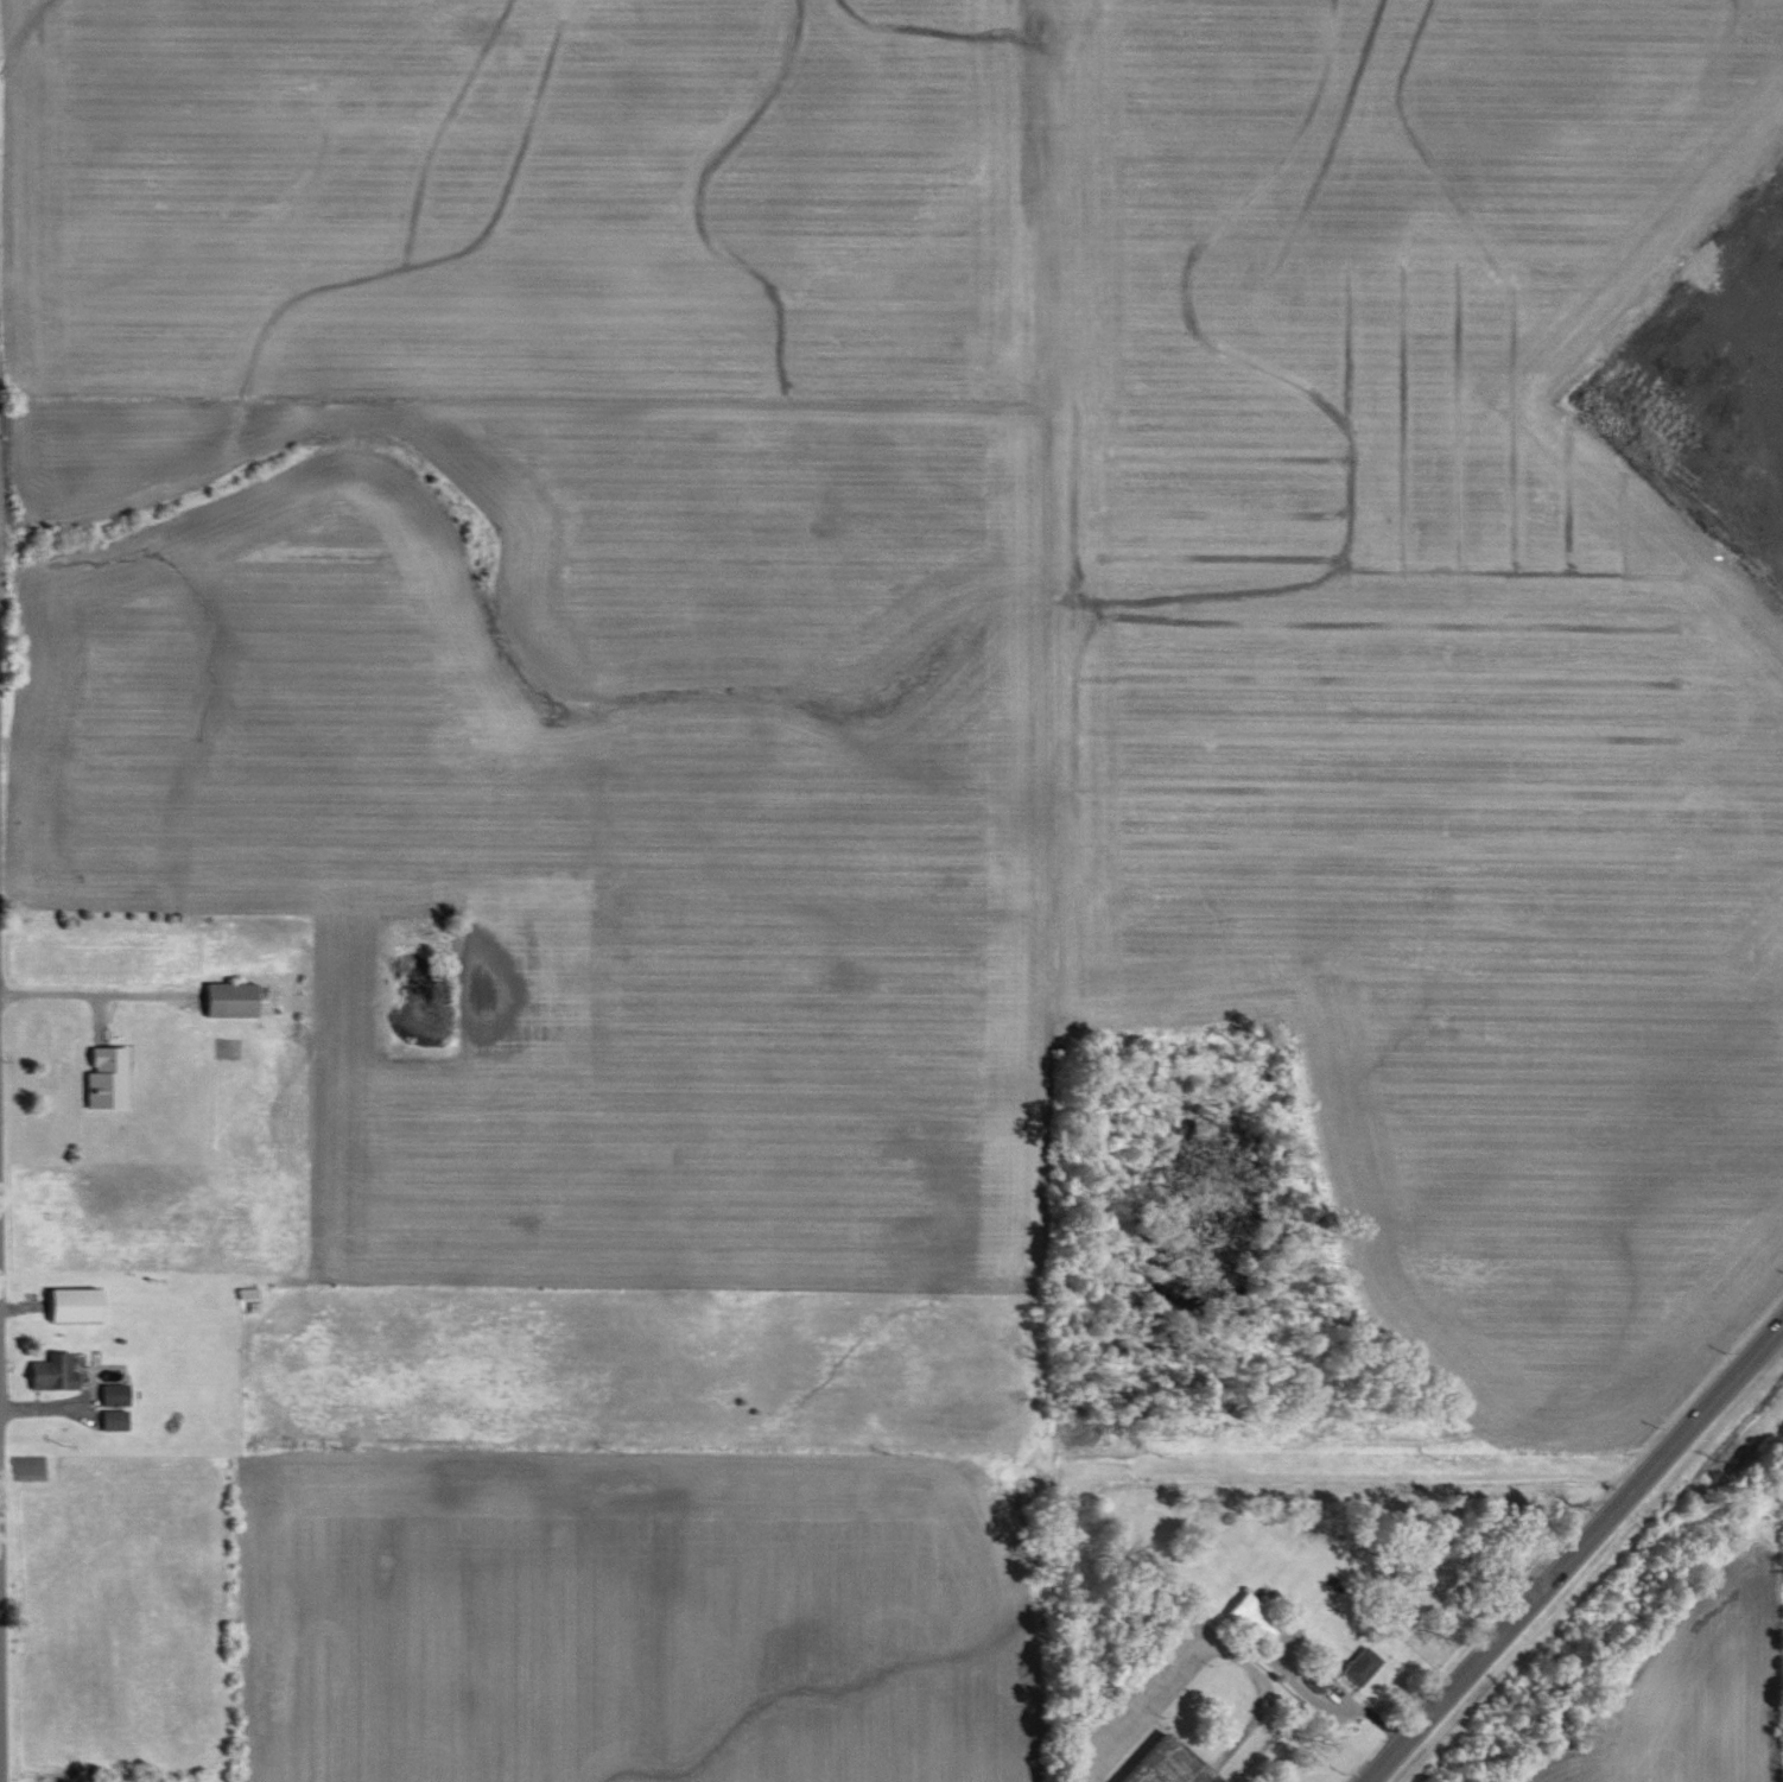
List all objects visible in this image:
road: (64, 994)
building: (237, 1000)
building: (113, 1078)
building: (83, 1305)
building: (61, 1371)
building: (121, 1395)
building: (120, 1420)
road: (1574, 1553)
building: (1261, 1618)
building: (1366, 1667)
building: (1324, 1680)
building: (1178, 1764)

